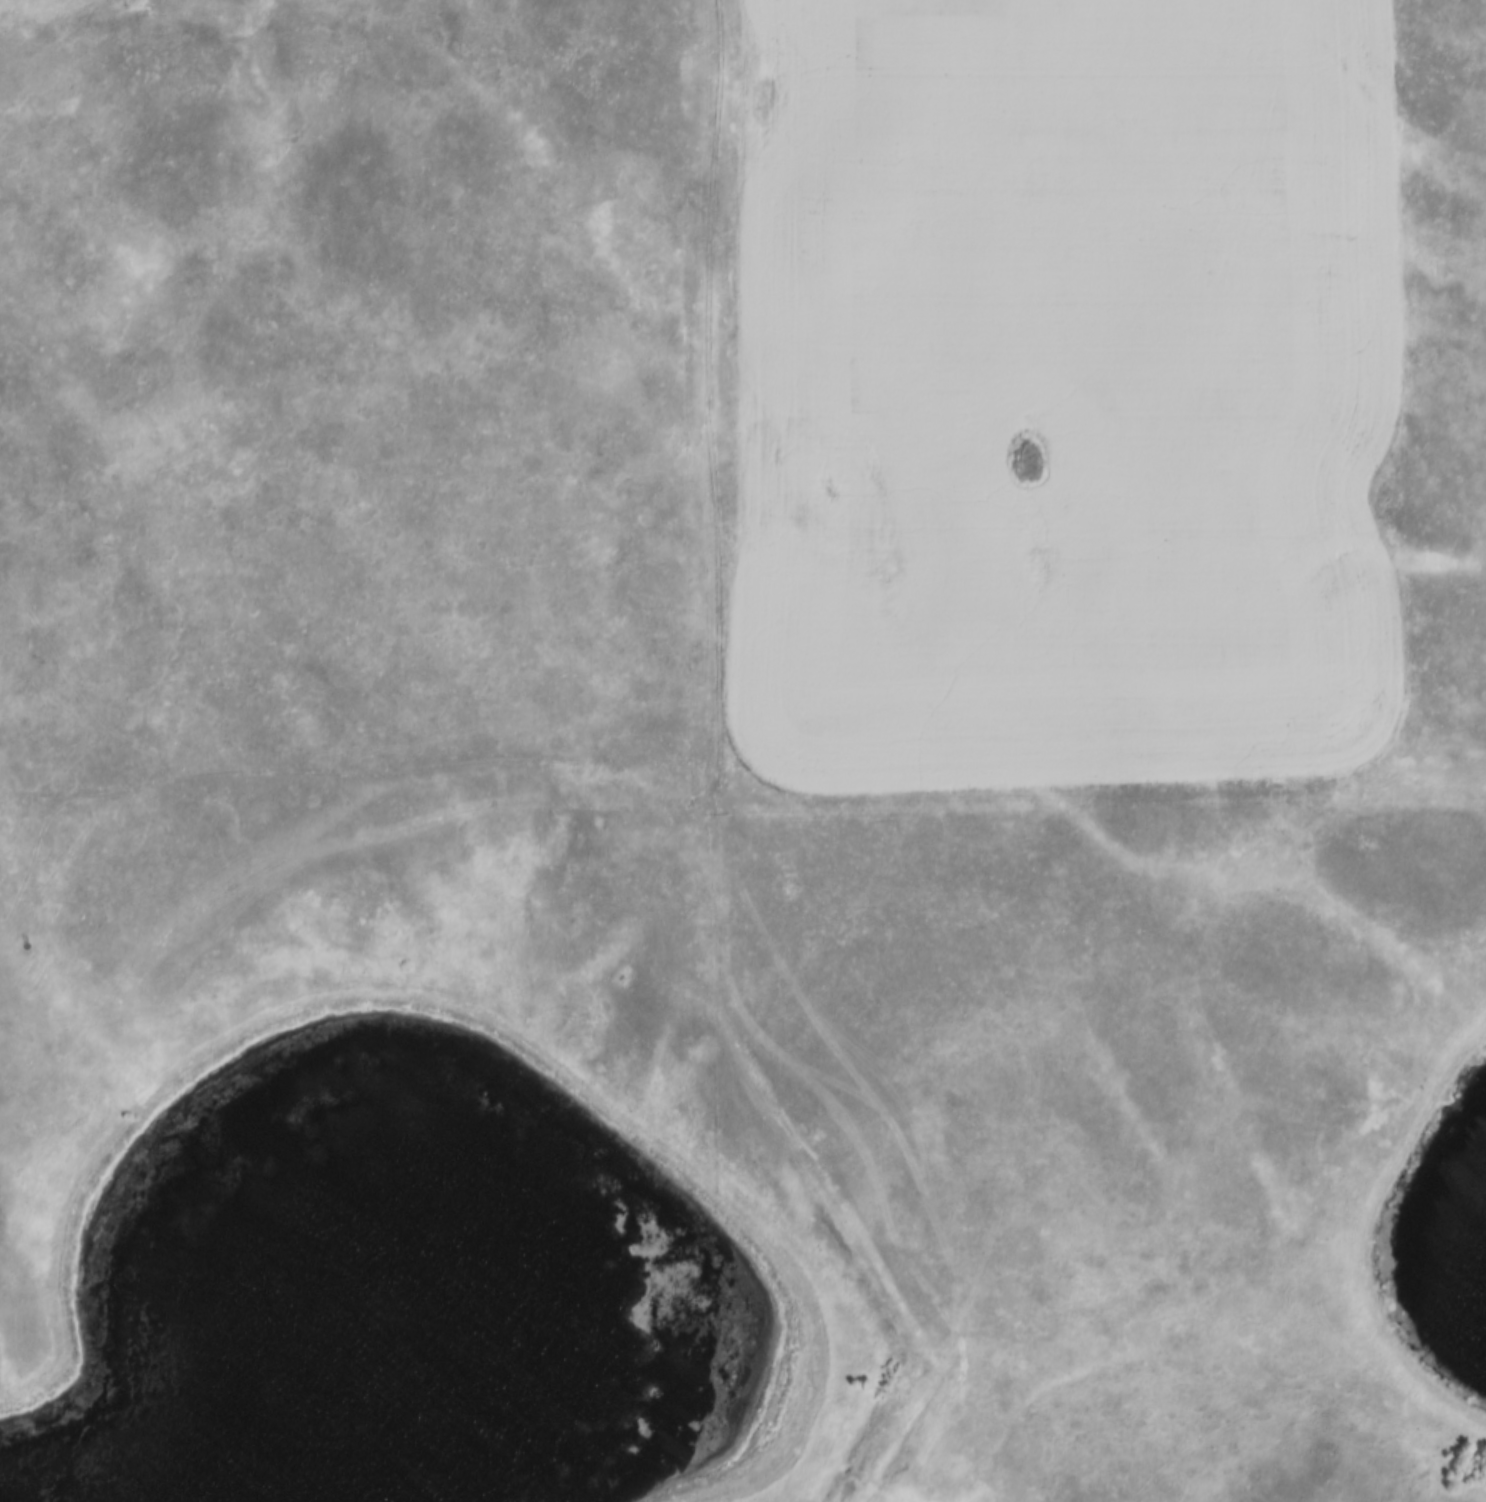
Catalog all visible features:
road: (718, 783)

